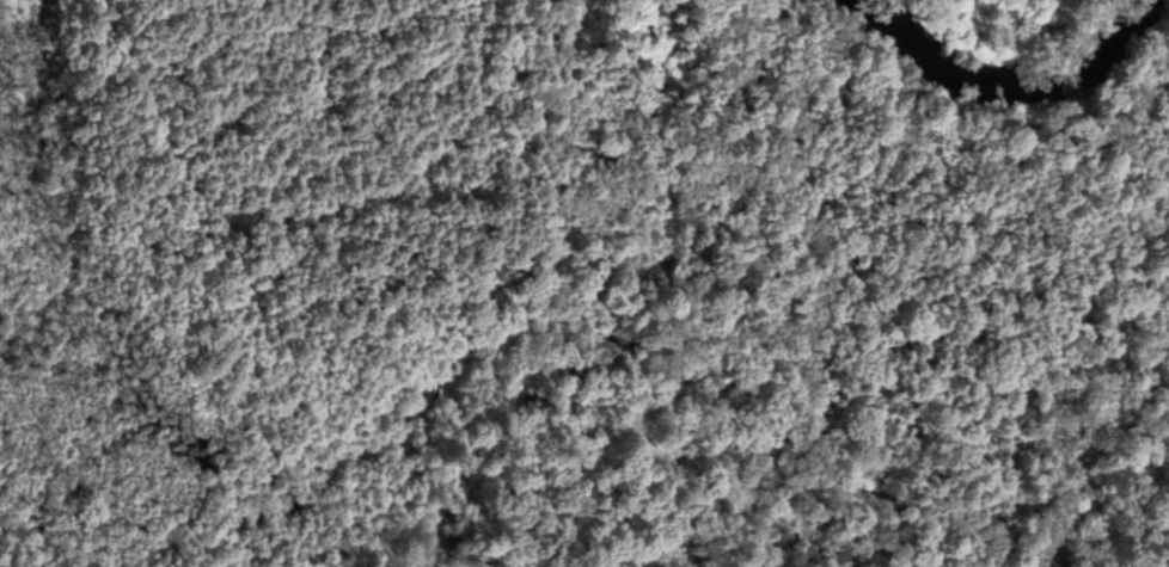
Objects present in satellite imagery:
river: (1014, 74)

